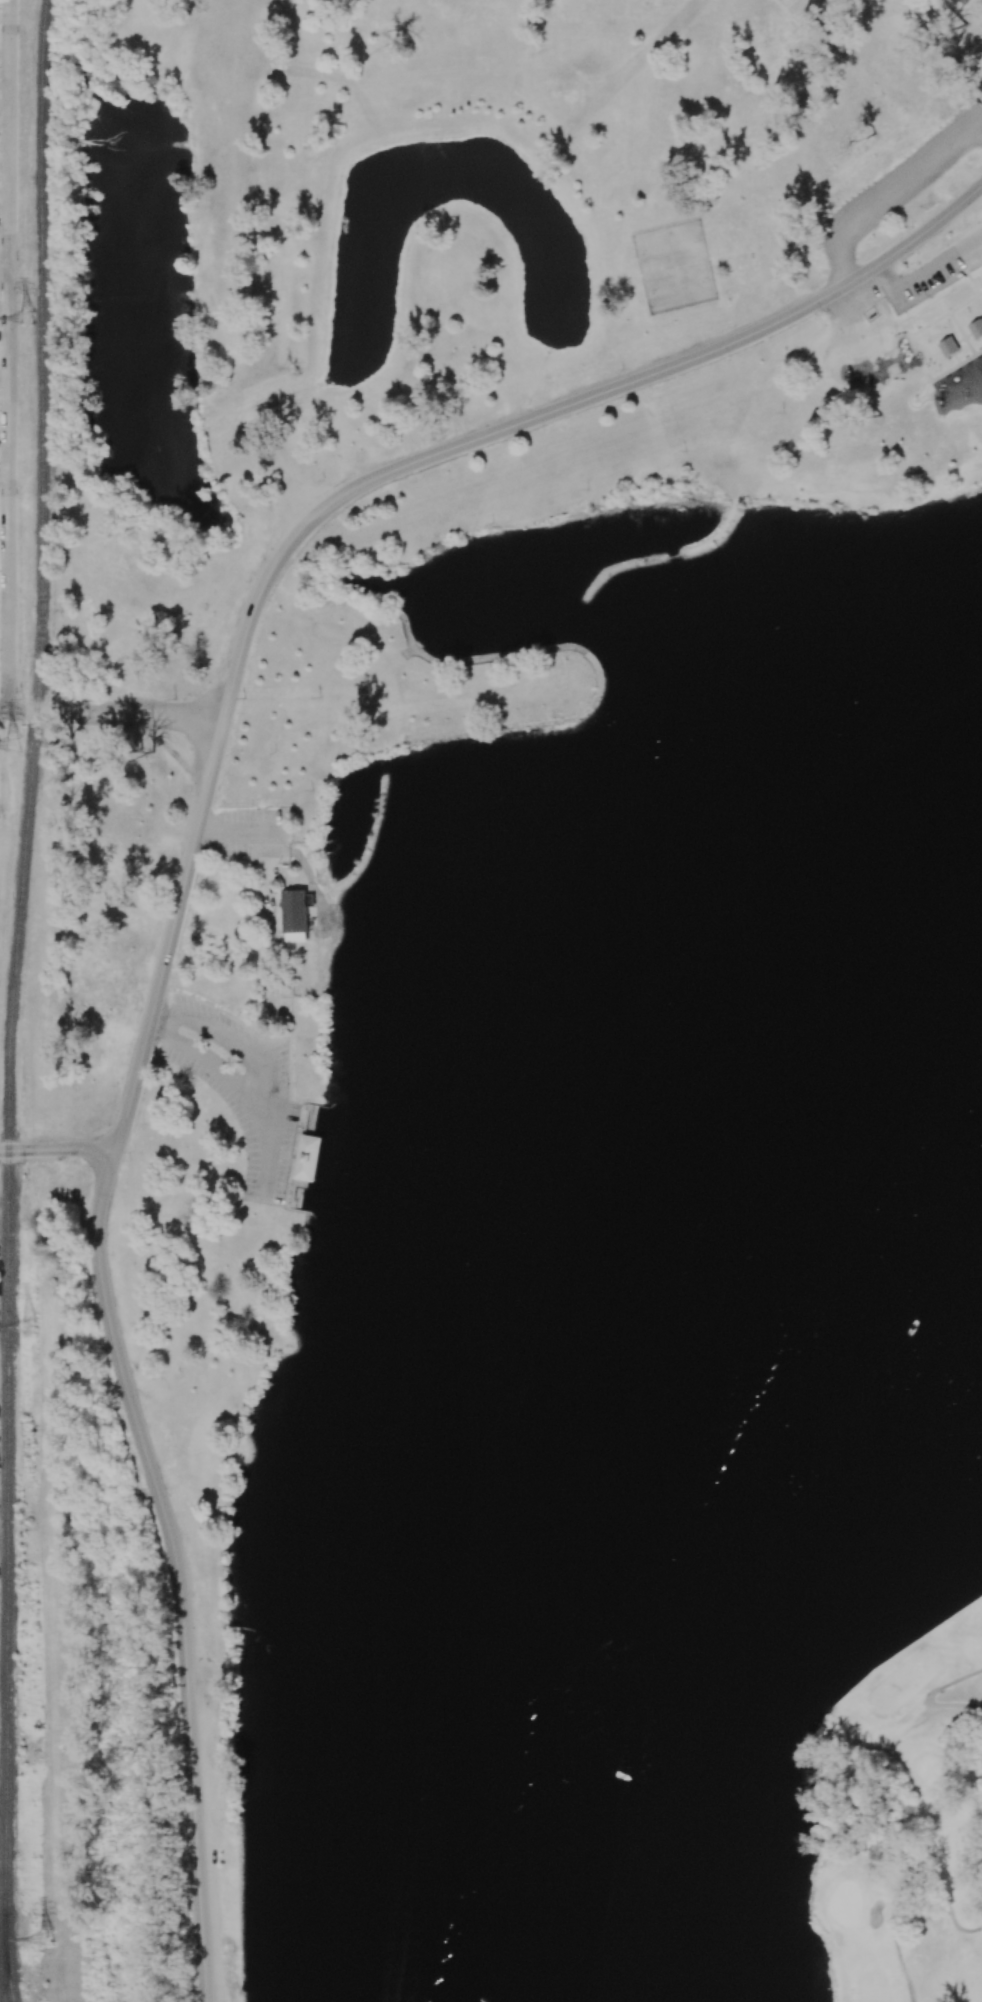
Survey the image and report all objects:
park: (28, 0)
parking lot: (899, 178)
park: (670, 246)
road: (5, 263)
parking lot: (934, 270)
park: (680, 286)
power tower: (26, 318)
building: (976, 328)
building: (948, 346)
road: (9, 356)
road: (645, 377)
road: (285, 505)
road: (2, 713)
road: (116, 714)
power tower: (14, 745)
road: (240, 830)
building: (294, 911)
park: (482, 919)
railway: (14, 1000)
road: (226, 1037)
road: (206, 1055)
road: (57, 1149)
building: (307, 1157)
road: (98, 1260)
power tower: (30, 1326)
park: (4, 1395)
road: (928, 1698)
park: (894, 1799)
road: (899, 1881)
power tower: (45, 1939)
railway: (8, 1965)

